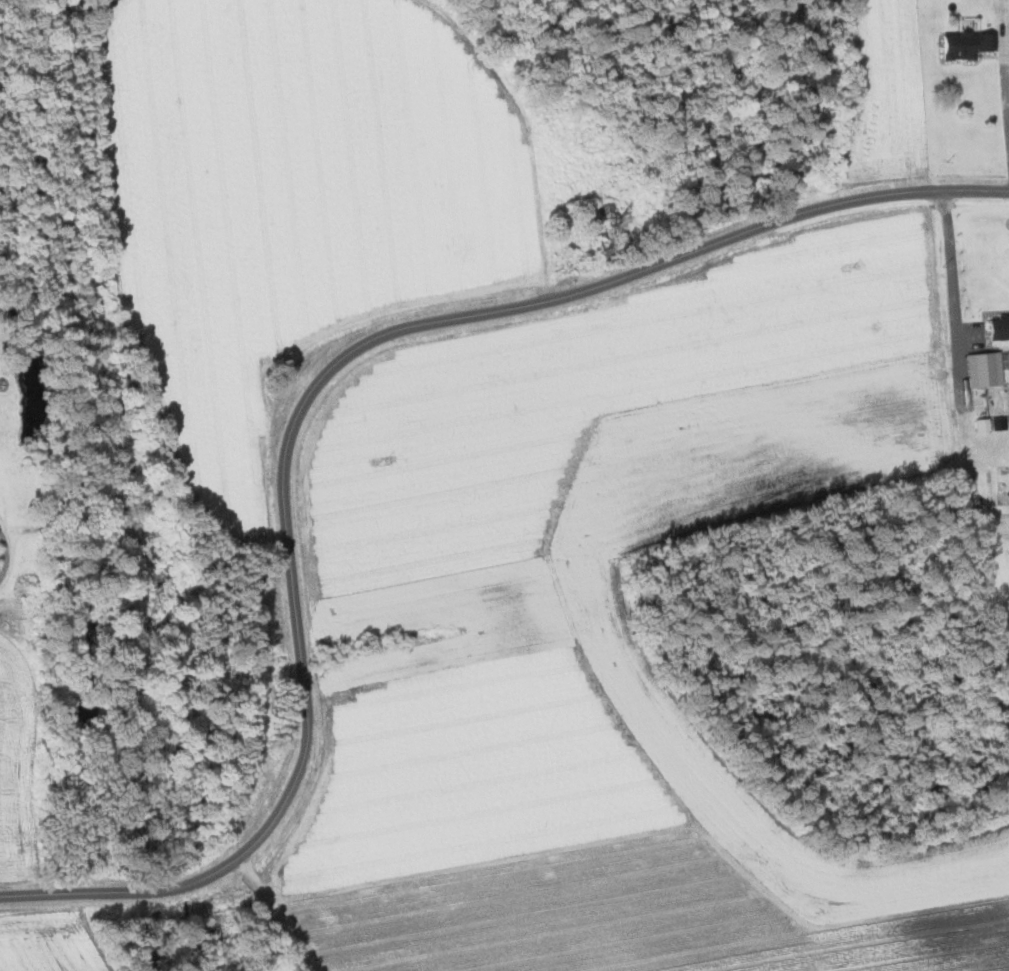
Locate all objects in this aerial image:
building: (963, 42)
road: (1004, 76)
road: (952, 283)
building: (997, 327)
building: (982, 369)
road: (293, 382)
park: (14, 499)

